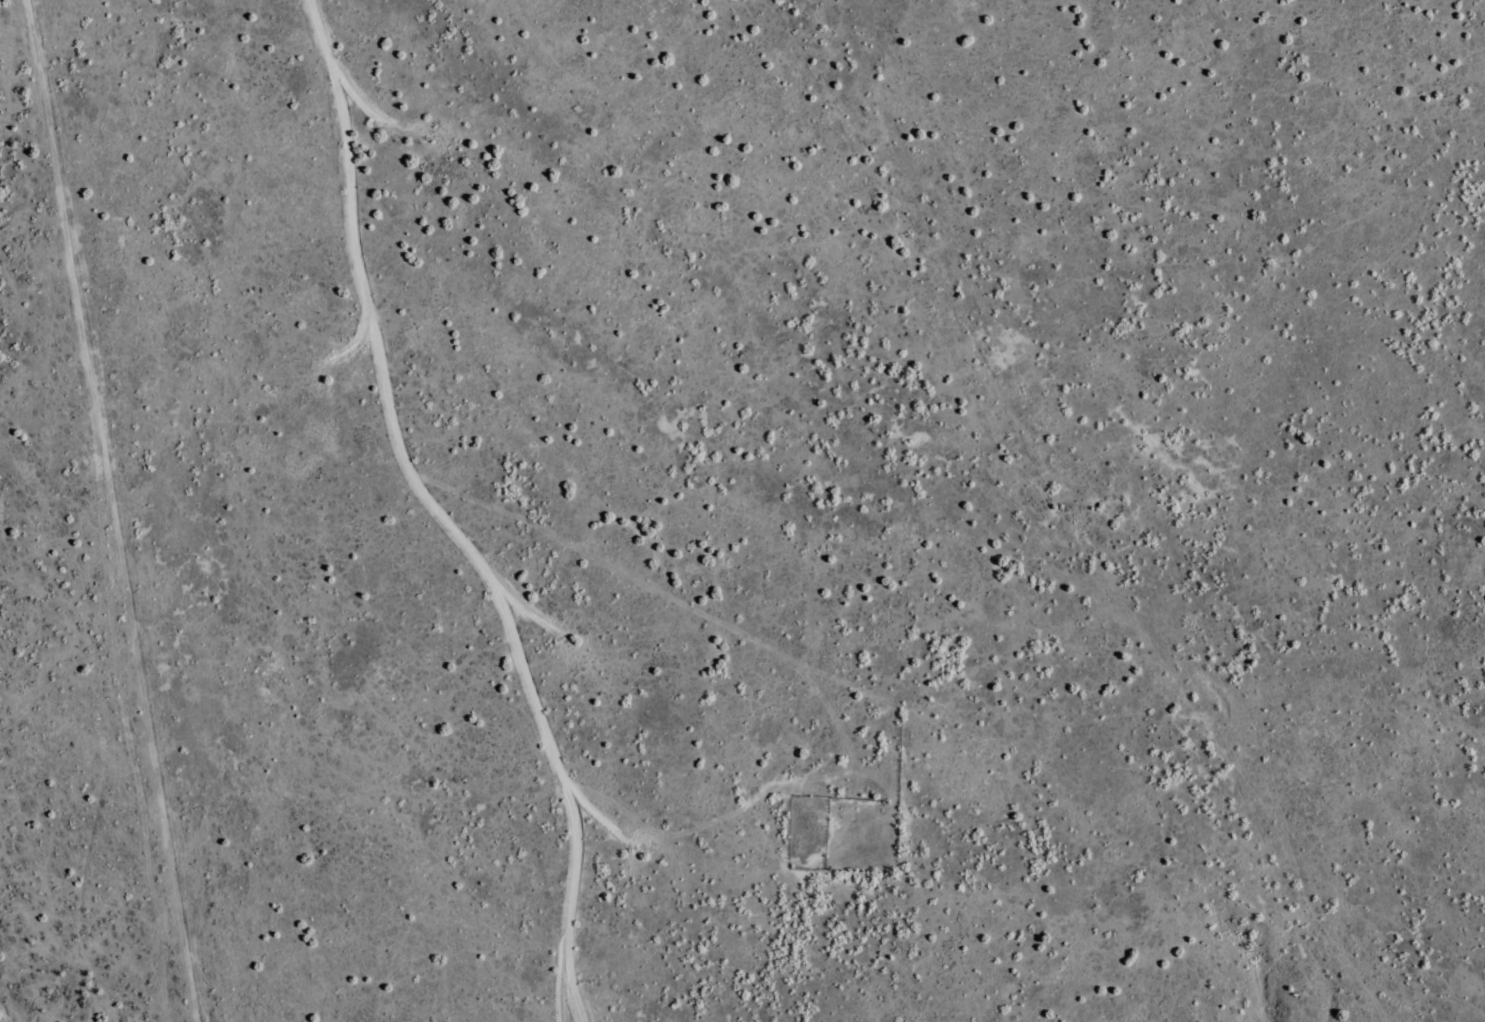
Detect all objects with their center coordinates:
road: (76, 508)
road: (195, 567)

